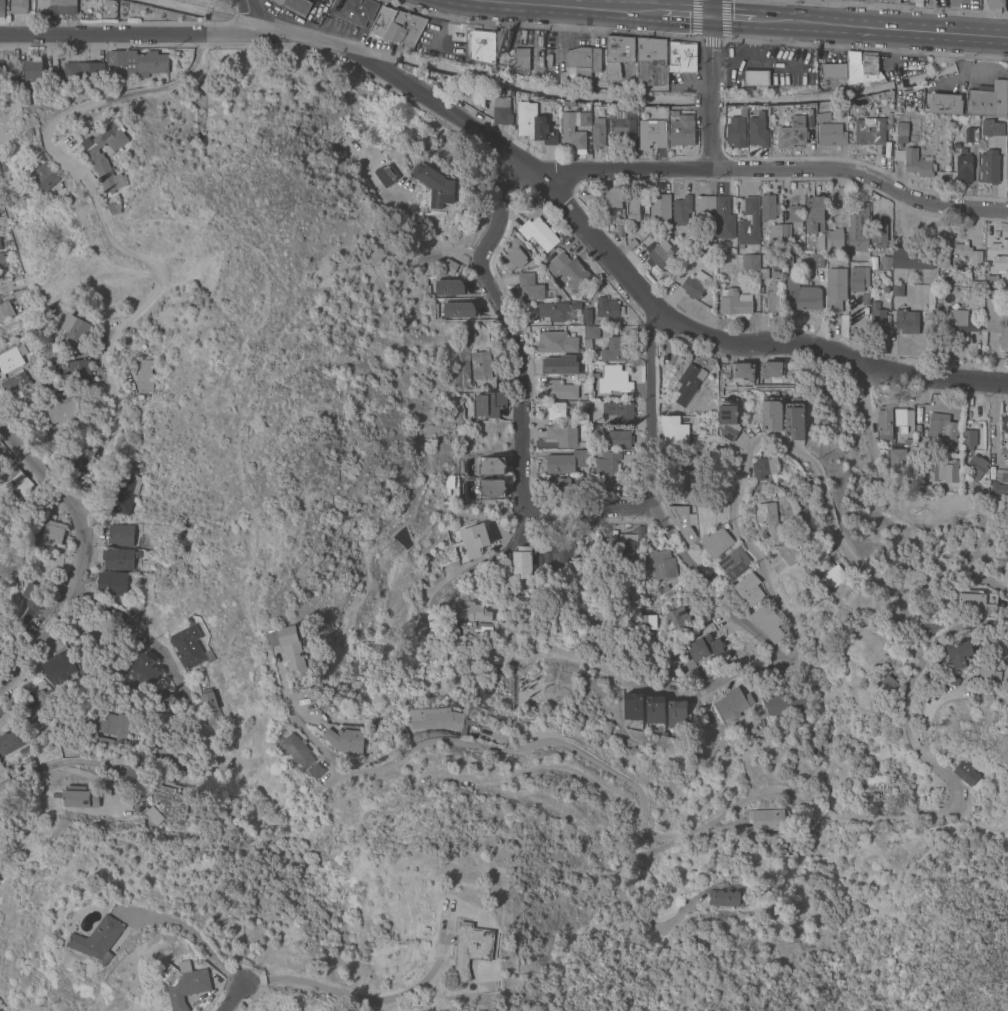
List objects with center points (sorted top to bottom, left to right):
road: (556, 2)
building: (890, 2)
building: (915, 2)
road: (568, 5)
building: (995, 5)
building: (18, 6)
building: (295, 6)
building: (62, 7)
building: (1, 8)
road: (450, 9)
road: (777, 10)
building: (355, 11)
road: (677, 13)
road: (247, 16)
traffic signals: (706, 16)
road: (740, 17)
road: (694, 19)
road: (723, 21)
building: (383, 22)
road: (891, 27)
building: (404, 28)
parking lot: (343, 29)
road: (442, 33)
road: (749, 35)
parking lot: (443, 38)
road: (708, 41)
building: (483, 45)
building: (618, 52)
building: (682, 57)
road: (767, 57)
building: (521, 60)
road: (718, 61)
building: (138, 62)
building: (651, 62)
building: (578, 65)
building: (597, 68)
building: (853, 68)
road: (729, 69)
building: (869, 70)
building: (32, 71)
building: (115, 71)
building: (78, 72)
building: (6, 73)
building: (755, 73)
parking lot: (789, 73)
building: (835, 75)
parking lot: (967, 76)
building: (1007, 77)
building: (880, 79)
parking lot: (681, 82)
road: (707, 84)
road: (171, 85)
road: (689, 85)
building: (987, 101)
building: (568, 104)
building: (945, 104)
building: (501, 112)
building: (742, 113)
building: (674, 114)
building: (823, 116)
building: (889, 118)
building: (623, 122)
building: (533, 125)
road: (51, 126)
building: (991, 128)
building: (903, 129)
building: (682, 131)
building: (757, 131)
building: (869, 131)
building: (735, 132)
building: (792, 133)
building: (598, 134)
building: (651, 134)
building: (831, 135)
building: (971, 135)
building: (573, 141)
building: (954, 146)
building: (1006, 162)
building: (916, 163)
building: (99, 164)
road: (524, 166)
building: (989, 167)
road: (775, 169)
building: (963, 169)
building: (42, 174)
building: (386, 175)
building: (434, 185)
building: (842, 194)
building: (866, 198)
building: (611, 205)
building: (660, 208)
building: (767, 208)
building: (633, 209)
building: (703, 209)
building: (864, 209)
building: (681, 211)
building: (813, 213)
building: (794, 216)
building: (724, 219)
building: (748, 223)
building: (3, 227)
building: (620, 231)
building: (538, 233)
building: (785, 234)
building: (774, 235)
building: (561, 237)
building: (878, 237)
building: (857, 238)
building: (820, 241)
building: (834, 242)
building: (631, 245)
building: (0, 247)
building: (706, 247)
building: (763, 249)
building: (958, 254)
road: (408, 255)
building: (660, 255)
building: (999, 255)
building: (515, 256)
building: (912, 258)
building: (786, 260)
building: (750, 261)
building: (816, 261)
building: (2, 262)
building: (884, 262)
building: (448, 267)
building: (874, 267)
building: (569, 272)
building: (763, 273)
building: (774, 274)
building: (858, 279)
building: (18, 282)
building: (990, 282)
building: (975, 284)
building: (695, 285)
building: (449, 288)
building: (532, 288)
building: (836, 290)
building: (885, 290)
building: (896, 290)
building: (801, 294)
building: (20, 295)
building: (772, 297)
building: (864, 299)
building: (734, 302)
building: (607, 308)
building: (5, 310)
building: (458, 310)
building: (555, 310)
building: (586, 315)
building: (906, 321)
building: (997, 321)
building: (878, 322)
building: (961, 322)
building: (75, 328)
building: (32, 331)
road: (117, 331)
building: (589, 336)
building: (556, 342)
building: (1, 347)
building: (613, 350)
building: (584, 357)
building: (11, 358)
building: (559, 365)
building: (480, 366)
building: (79, 370)
building: (771, 370)
building: (691, 371)
building: (740, 371)
building: (144, 376)
building: (593, 376)
building: (614, 380)
building: (22, 387)
road: (518, 388)
building: (560, 390)
building: (489, 404)
building: (67, 408)
building: (556, 411)
building: (617, 413)
building: (772, 414)
road: (994, 414)
building: (580, 417)
building: (903, 419)
building: (728, 420)
building: (884, 420)
building: (794, 422)
building: (1004, 424)
building: (595, 430)
building: (939, 430)
building: (674, 434)
road: (868, 434)
building: (562, 436)
building: (617, 439)
building: (968, 440)
building: (907, 442)
building: (1004, 451)
building: (81, 461)
building: (897, 462)
building: (564, 463)
building: (138, 465)
building: (491, 466)
building: (976, 466)
building: (765, 467)
building: (606, 470)
road: (43, 474)
building: (577, 480)
building: (778, 480)
building: (19, 483)
building: (448, 484)
building: (558, 484)
building: (689, 484)
building: (491, 488)
building: (998, 488)
building: (125, 495)
building: (439, 500)
road: (660, 513)
building: (682, 521)
building: (771, 521)
building: (53, 531)
building: (120, 535)
building: (764, 536)
building: (474, 540)
building: (630, 541)
building: (716, 543)
road: (500, 549)
building: (559, 553)
building: (789, 554)
building: (118, 560)
building: (537, 561)
building: (521, 563)
building: (734, 563)
building: (661, 564)
building: (778, 567)
building: (833, 576)
road: (766, 577)
building: (112, 584)
building: (748, 589)
building: (33, 595)
building: (976, 603)
building: (468, 612)
road: (56, 616)
building: (677, 621)
building: (647, 622)
building: (766, 622)
building: (929, 627)
road: (133, 629)
building: (483, 629)
building: (27, 631)
building: (88, 633)
building: (187, 647)
building: (830, 647)
building: (700, 648)
building: (291, 649)
building: (958, 654)
building: (58, 669)
building: (94, 669)
building: (142, 672)
building: (988, 673)
building: (697, 675)
building: (78, 681)
building: (954, 681)
building: (889, 683)
building: (66, 684)
building: (534, 697)
building: (206, 701)
building: (37, 702)
building: (165, 702)
building: (732, 704)
building: (783, 704)
building: (632, 707)
building: (654, 709)
building: (1, 711)
building: (479, 711)
building: (676, 715)
building: (440, 719)
building: (760, 724)
building: (401, 729)
building: (110, 730)
building: (663, 734)
road: (310, 739)
building: (345, 740)
building: (10, 741)
building: (815, 747)
building: (23, 751)
building: (298, 751)
building: (53, 758)
road: (71, 764)
building: (1, 770)
building: (315, 771)
building: (967, 775)
building: (79, 797)
road: (754, 799)
building: (876, 799)
building: (165, 806)
building: (766, 820)
building: (725, 898)
building: (788, 923)
road: (189, 928)
building: (97, 939)
building: (471, 949)
building: (184, 983)
road: (230, 996)
road: (356, 998)
road: (231, 1007)

